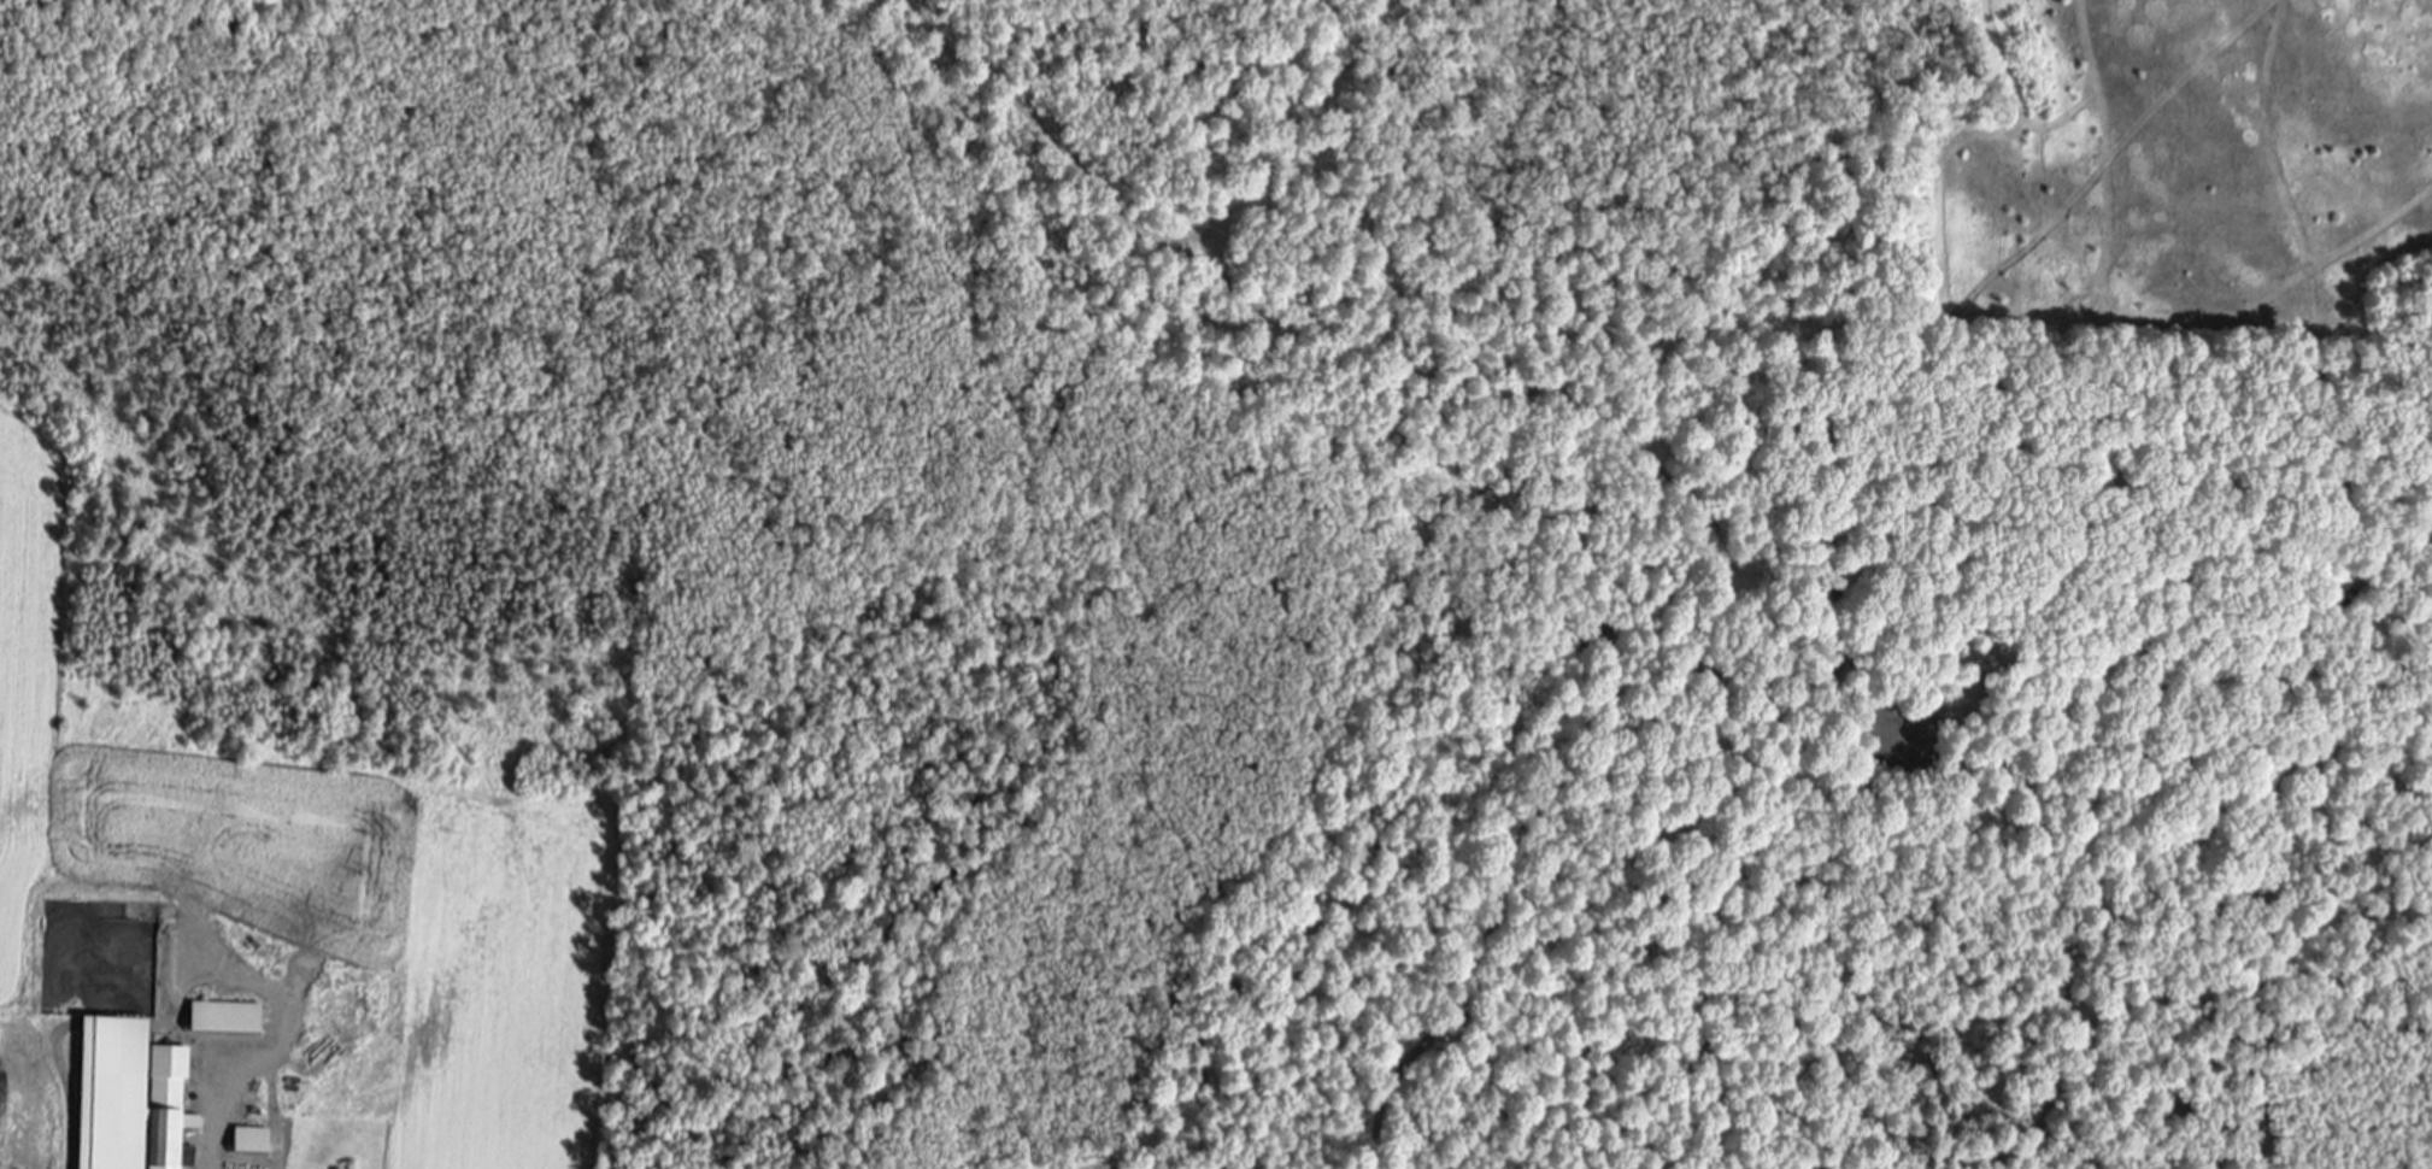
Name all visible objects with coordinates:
building: (224, 1015)
building: (174, 1111)

